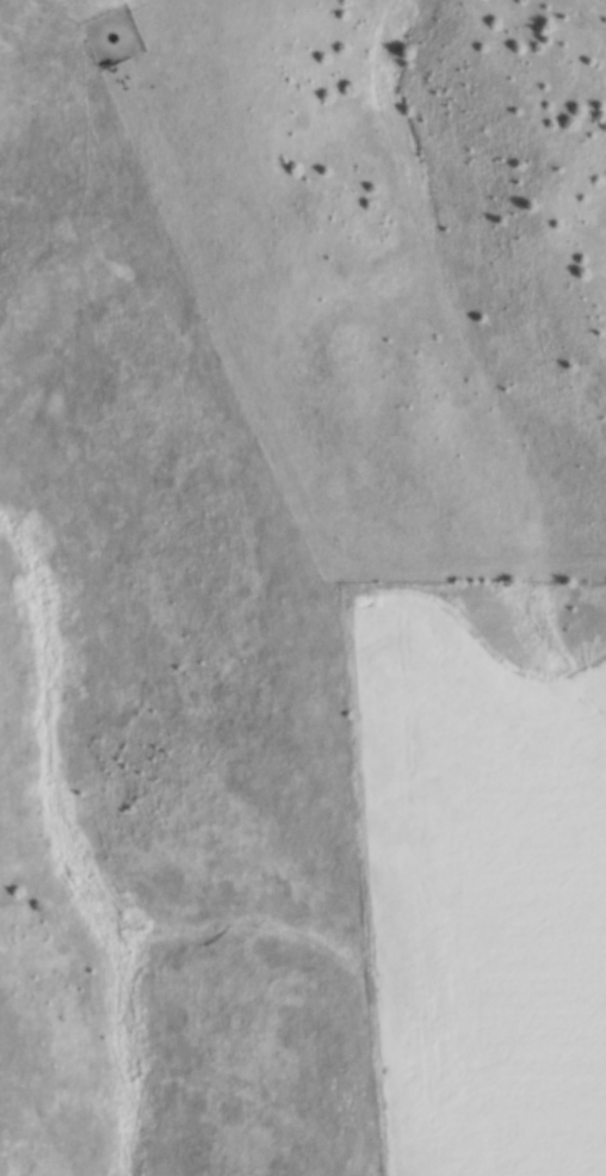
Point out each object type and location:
crop: (481, 899)

